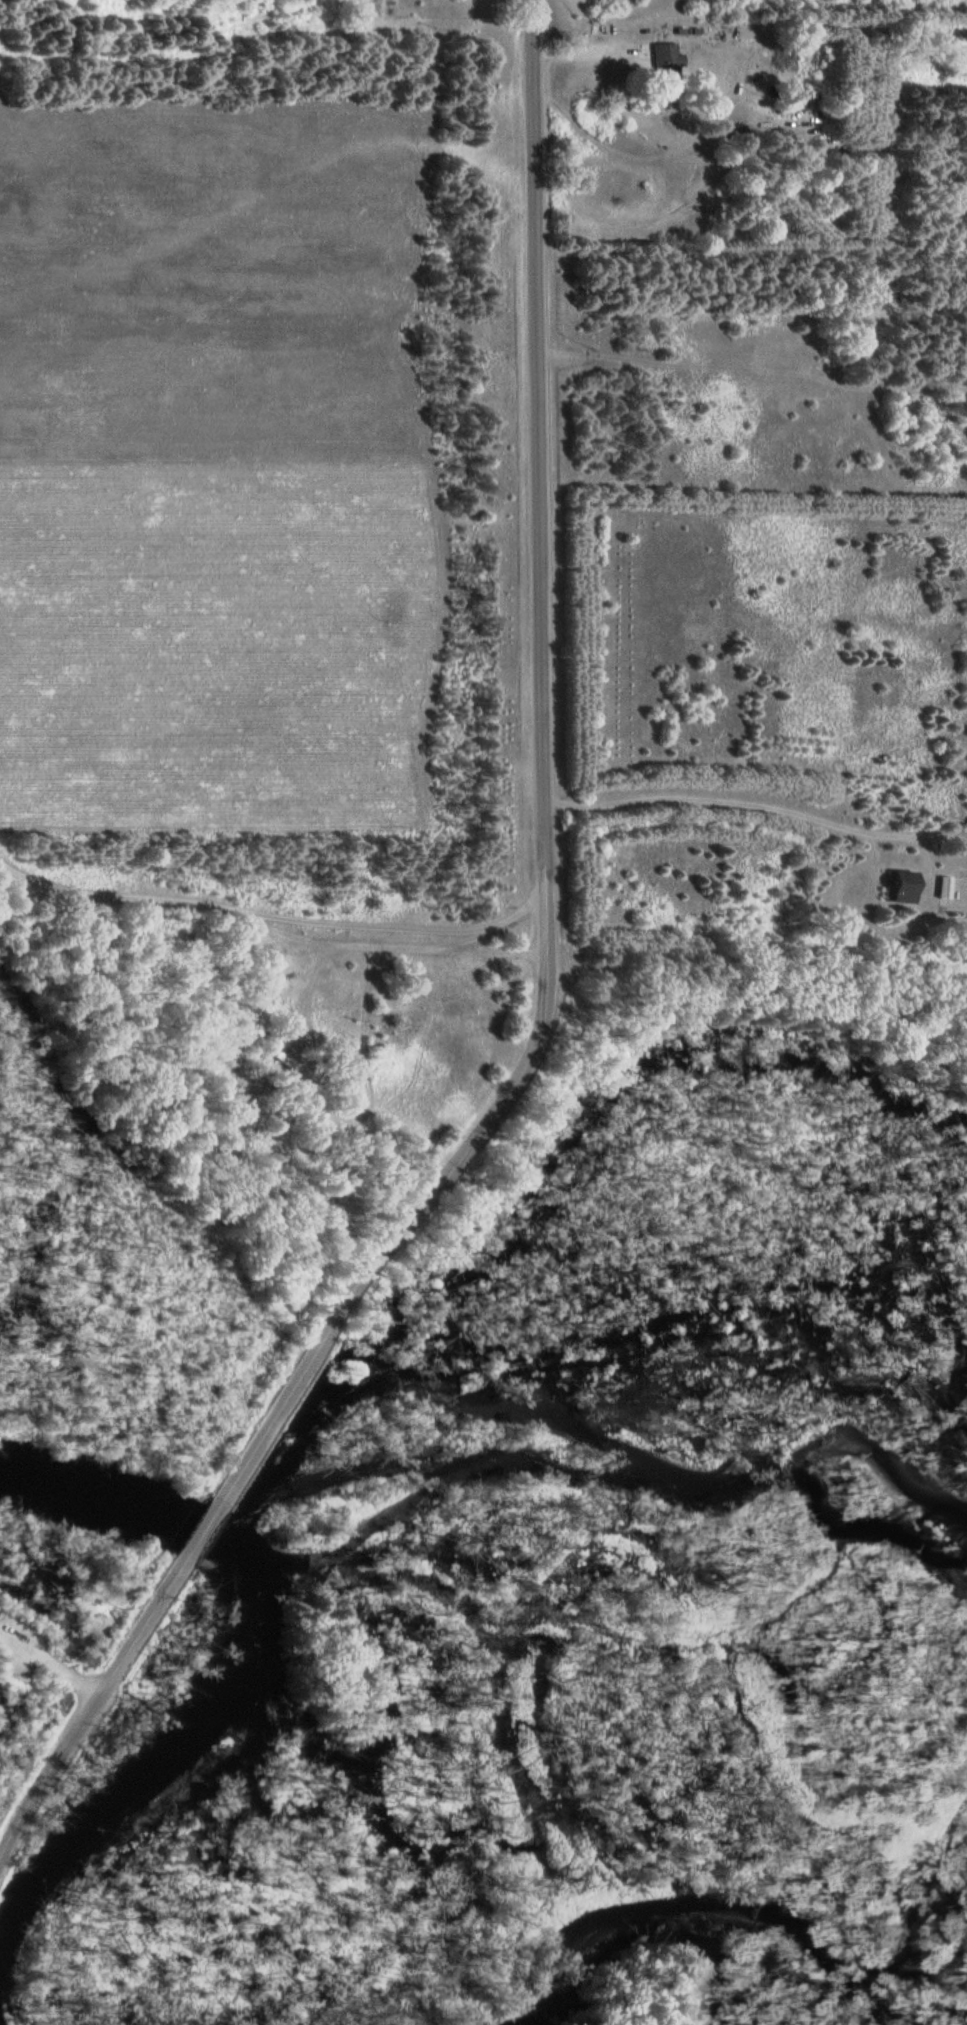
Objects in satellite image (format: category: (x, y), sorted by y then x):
building: (664, 62)
road: (541, 798)
building: (897, 886)
building: (940, 887)
road: (202, 1532)
river: (238, 1665)
road: (88, 1710)
river: (723, 1919)

